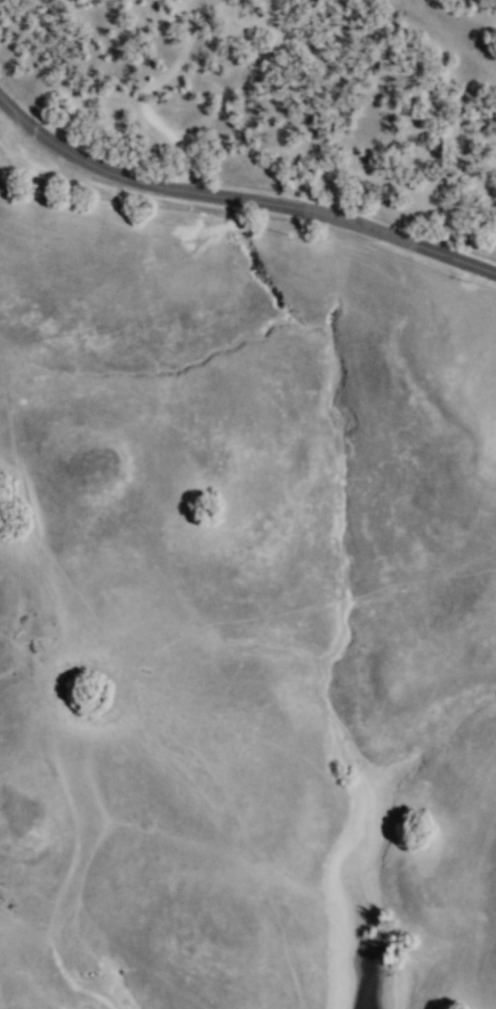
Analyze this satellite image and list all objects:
road: (239, 199)

